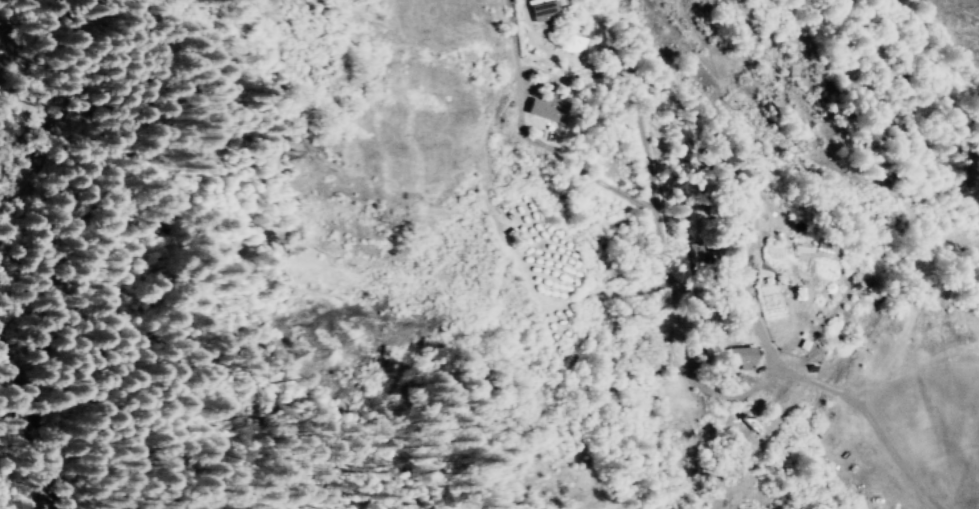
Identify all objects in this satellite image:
building: (545, 9)
building: (551, 108)
building: (509, 202)
building: (763, 269)
building: (743, 357)
road: (17, 477)

